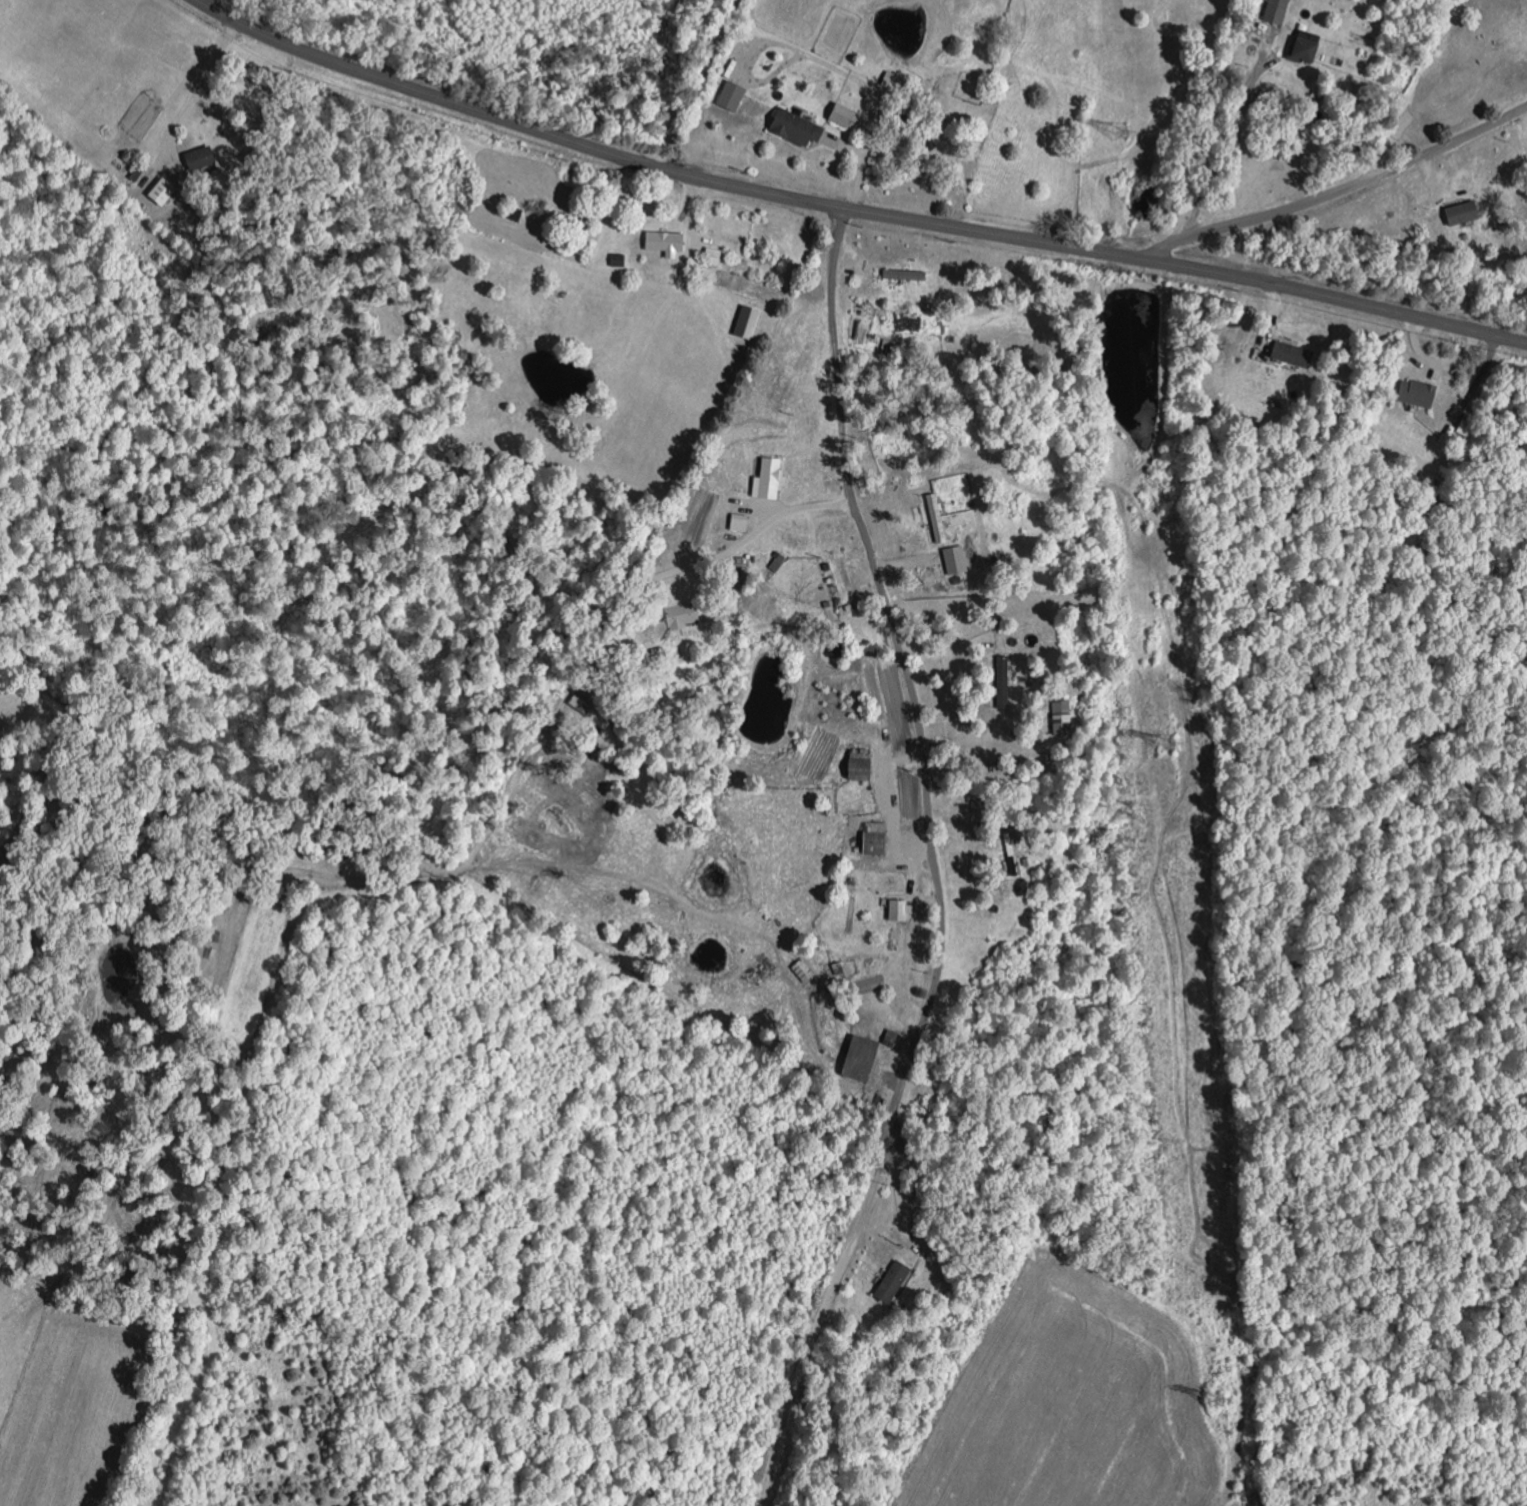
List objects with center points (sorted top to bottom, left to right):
building: (1278, 11)
building: (1307, 51)
road: (829, 65)
road: (204, 78)
road: (697, 82)
building: (734, 96)
building: (846, 115)
building: (799, 127)
road: (1225, 158)
building: (164, 191)
road: (1340, 193)
road: (863, 213)
building: (1465, 213)
building: (667, 242)
building: (715, 256)
building: (908, 275)
building: (750, 321)
building: (1294, 355)
building: (1418, 393)
building: (770, 479)
building: (938, 518)
building: (741, 522)
road: (717, 558)
building: (956, 560)
building: (778, 562)
building: (684, 615)
road: (943, 651)
road: (900, 656)
building: (1004, 664)
building: (1063, 719)
building: (863, 764)
building: (878, 839)
building: (900, 910)
building: (863, 1058)
building: (895, 1281)
road: (827, 1304)

